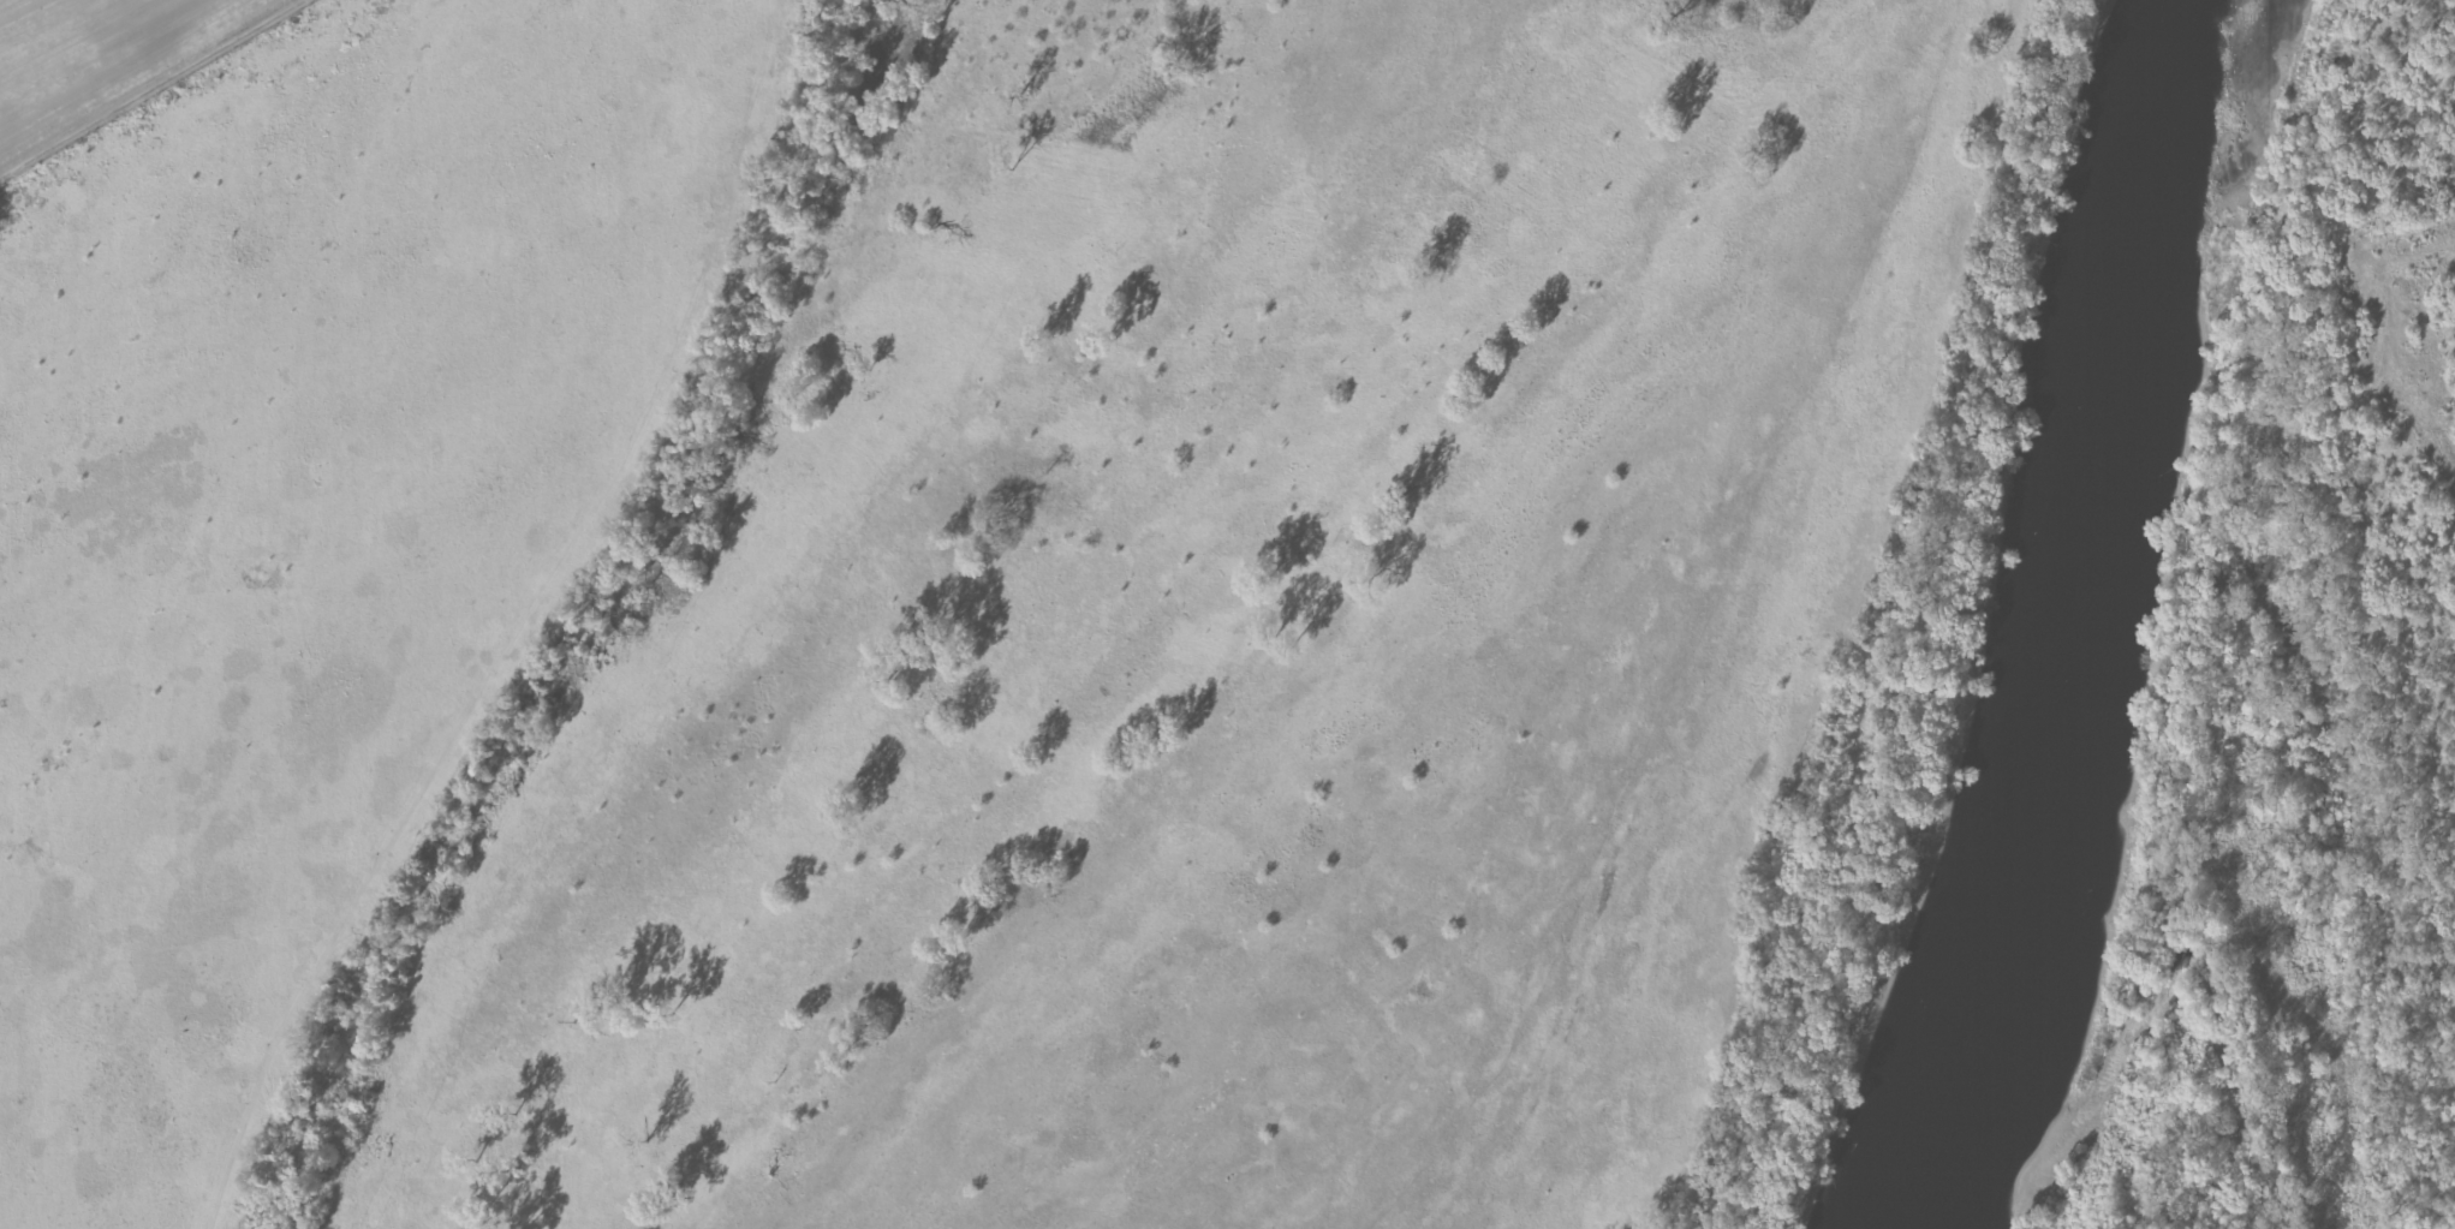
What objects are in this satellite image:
river: (2003, 614)

